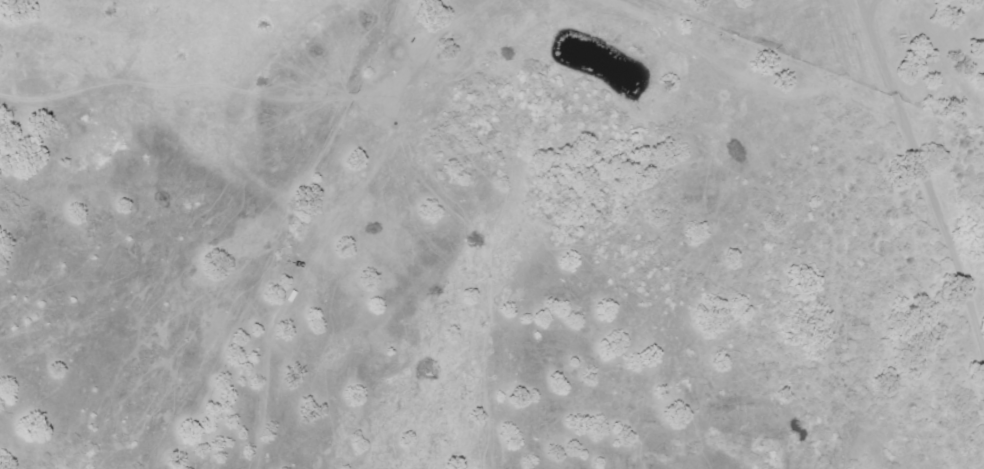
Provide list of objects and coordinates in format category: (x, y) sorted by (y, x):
road: (936, 162)

